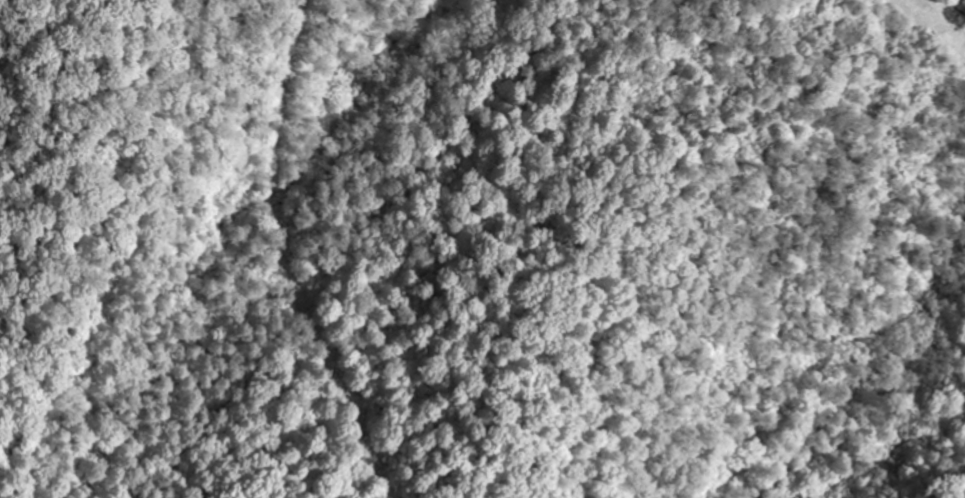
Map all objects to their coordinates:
road: (933, 34)

